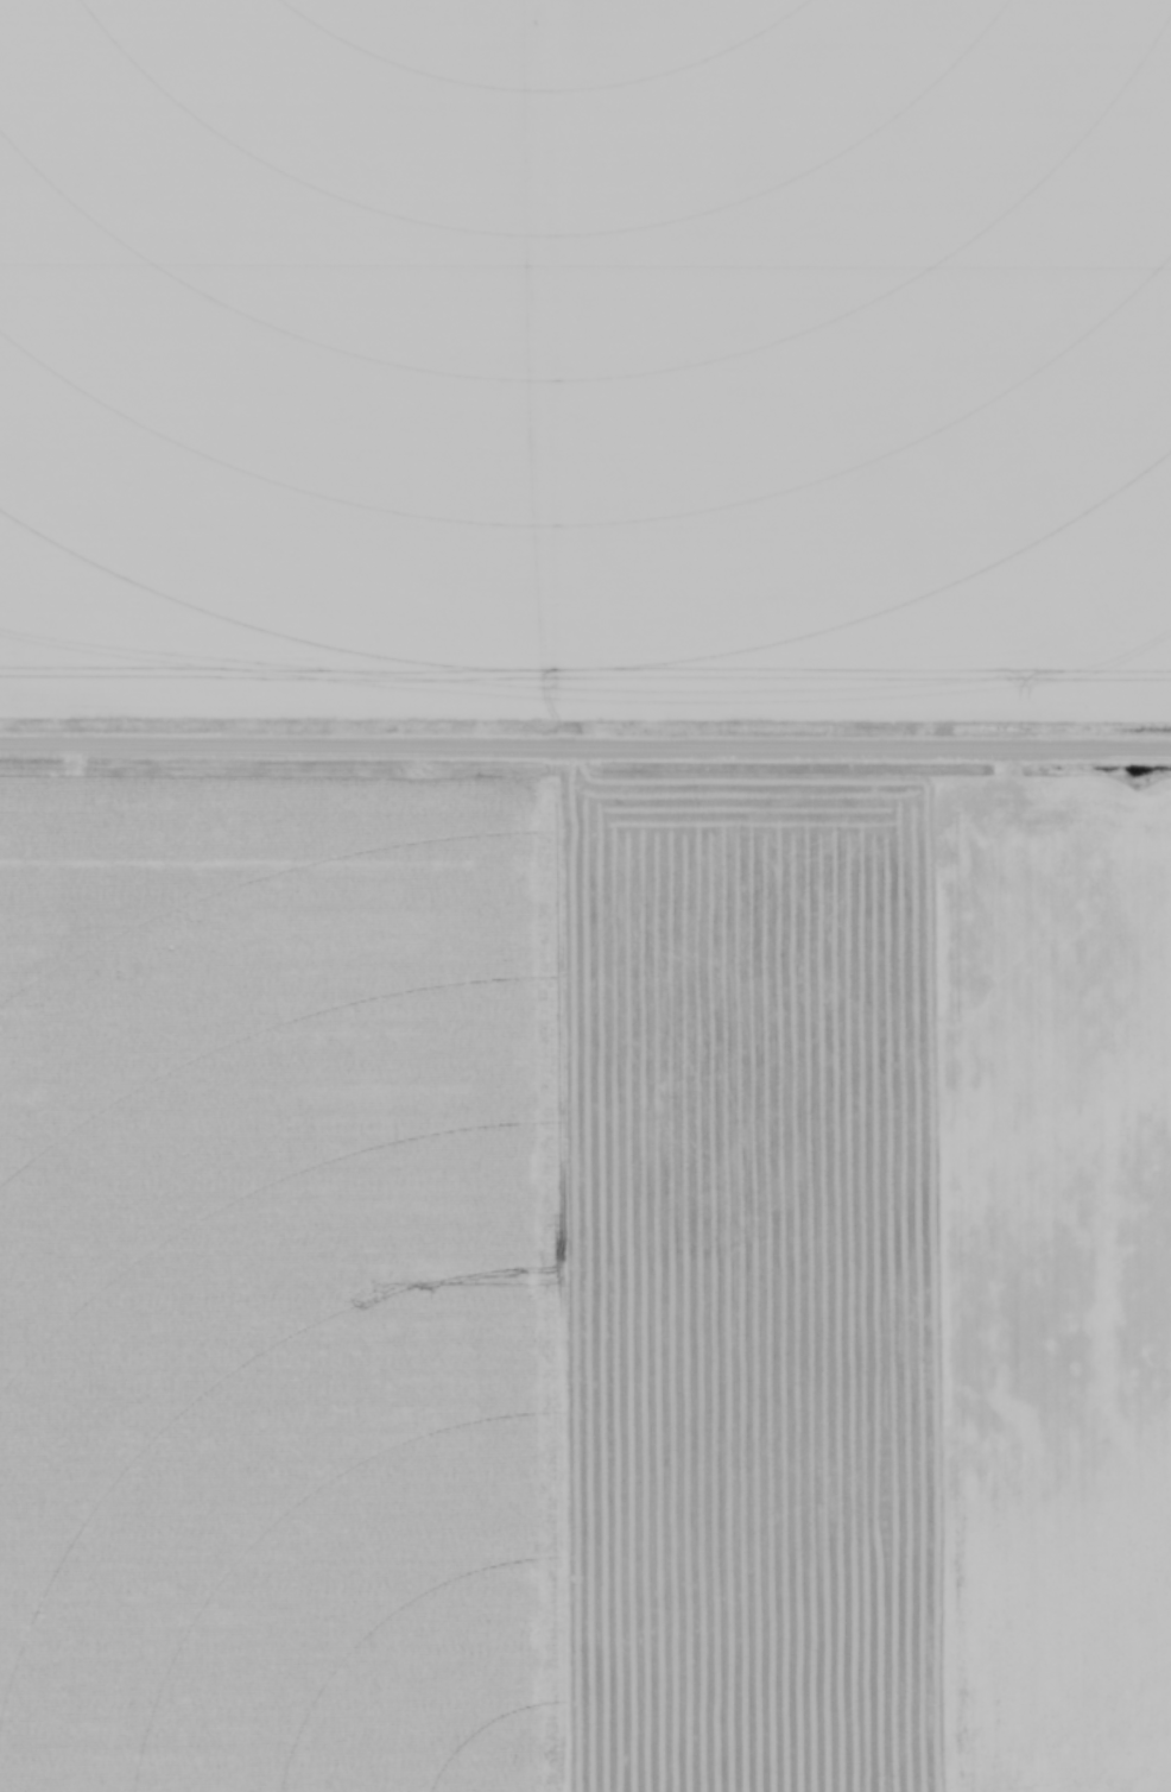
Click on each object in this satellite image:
crop: (585, 355)
road: (585, 746)
crop: (584, 1283)

